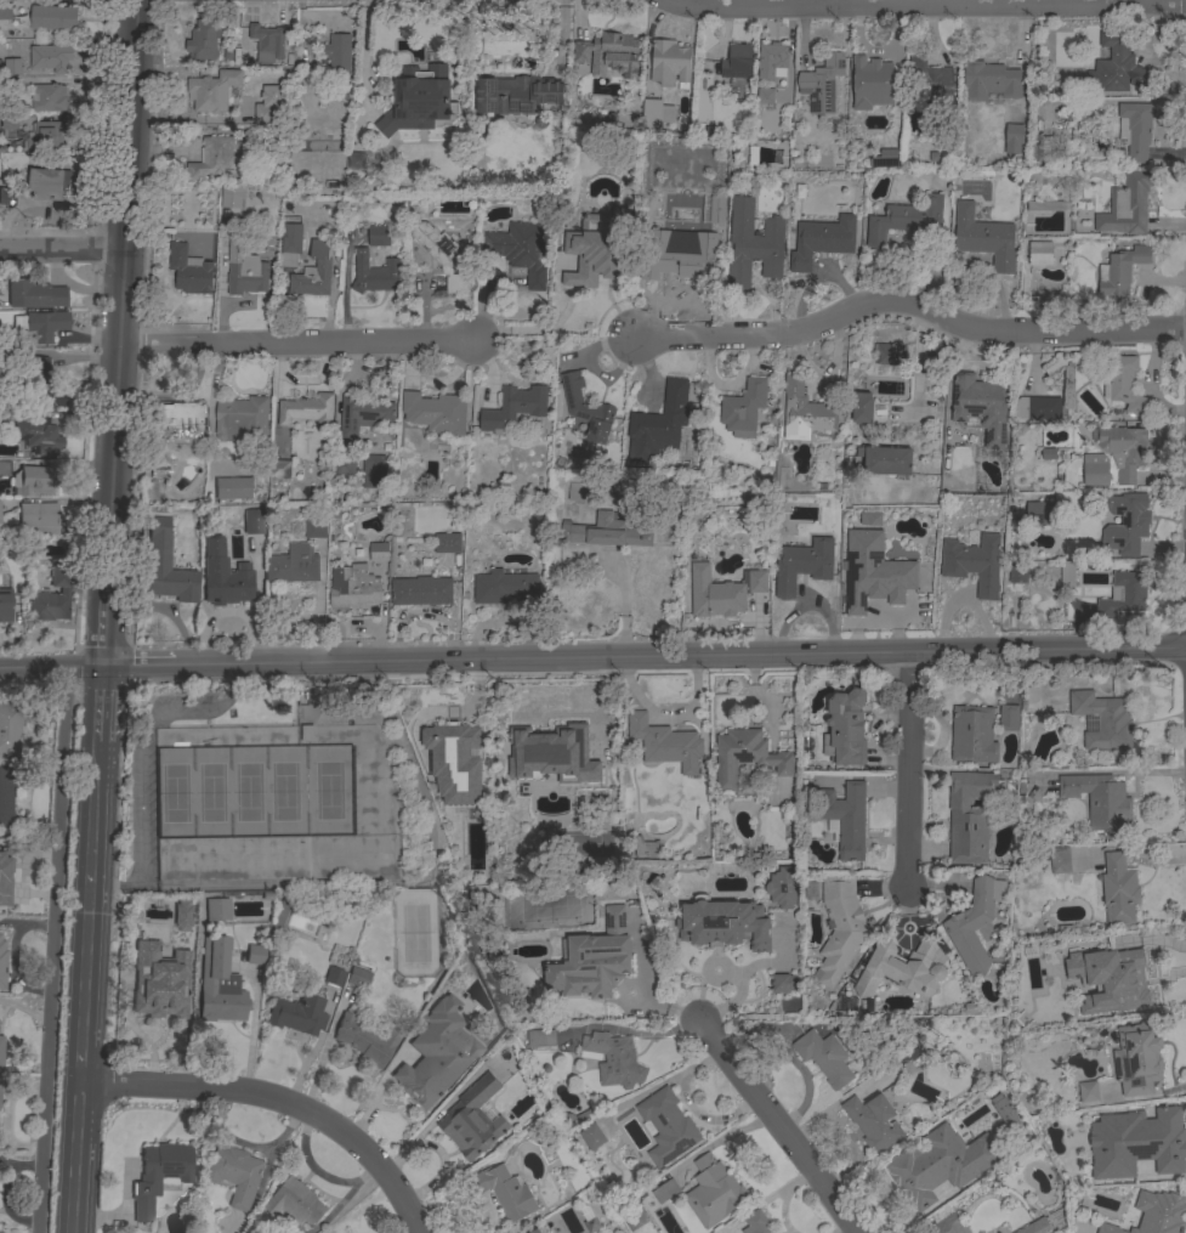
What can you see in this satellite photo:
road: (833, 2)
road: (925, 5)
building: (5, 10)
building: (52, 18)
building: (203, 40)
building: (265, 44)
road: (364, 52)
building: (337, 53)
building: (608, 55)
building: (47, 57)
building: (771, 61)
building: (737, 62)
building: (669, 63)
building: (11, 67)
building: (1117, 67)
building: (989, 80)
building: (930, 81)
building: (870, 83)
building: (821, 84)
building: (211, 91)
building: (516, 95)
building: (765, 96)
building: (49, 98)
building: (419, 103)
building: (268, 106)
building: (656, 115)
building: (10, 128)
building: (863, 129)
building: (1135, 129)
building: (50, 135)
building: (1012, 138)
building: (1040, 149)
building: (883, 159)
building: (214, 160)
building: (356, 160)
building: (47, 185)
building: (6, 196)
building: (228, 198)
building: (1127, 205)
building: (1046, 207)
building: (906, 220)
building: (719, 228)
building: (378, 237)
building: (983, 238)
building: (821, 241)
building: (225, 243)
building: (289, 244)
building: (751, 244)
building: (597, 249)
building: (520, 250)
building: (1042, 250)
road: (63, 253)
building: (441, 255)
building: (679, 260)
building: (188, 271)
building: (1119, 271)
building: (313, 272)
building: (374, 275)
building: (246, 278)
building: (34, 294)
road: (124, 296)
road: (906, 304)
building: (39, 327)
road: (529, 329)
road: (296, 344)
building: (889, 354)
building: (39, 364)
building: (1054, 366)
building: (1124, 385)
building: (47, 398)
building: (513, 407)
building: (980, 407)
building: (861, 408)
building: (1037, 408)
building: (586, 409)
building: (743, 409)
building: (306, 411)
building: (805, 412)
building: (436, 413)
building: (363, 414)
building: (175, 419)
building: (242, 420)
building: (658, 424)
building: (36, 435)
building: (1123, 451)
building: (1046, 456)
building: (342, 459)
building: (885, 462)
building: (4, 468)
building: (279, 469)
building: (160, 470)
building: (1095, 470)
building: (373, 471)
building: (34, 481)
building: (233, 488)
building: (583, 492)
building: (1039, 514)
building: (39, 517)
building: (868, 521)
building: (251, 522)
building: (1124, 524)
building: (316, 528)
building: (607, 532)
building: (255, 535)
building: (447, 543)
building: (8, 545)
building: (379, 552)
building: (974, 564)
building: (165, 565)
building: (293, 565)
building: (802, 566)
building: (873, 572)
building: (1017, 573)
building: (223, 575)
building: (1066, 575)
building: (753, 583)
building: (501, 586)
building: (353, 587)
building: (421, 592)
building: (1123, 595)
building: (52, 596)
building: (719, 598)
building: (5, 606)
road: (106, 630)
road: (592, 658)
road: (101, 705)
building: (1009, 718)
building: (1102, 720)
building: (846, 728)
building: (10, 729)
building: (972, 735)
building: (452, 741)
building: (665, 743)
building: (567, 745)
building: (745, 757)
road: (138, 759)
road: (98, 760)
parking lot: (152, 760)
road: (906, 771)
park: (254, 788)
park: (278, 790)
building: (6, 799)
building: (1100, 802)
building: (967, 816)
building: (845, 819)
building: (645, 848)
building: (1060, 860)
building: (5, 869)
building: (782, 888)
building: (1118, 889)
building: (216, 909)
building: (181, 917)
building: (279, 917)
building: (723, 923)
building: (974, 923)
building: (839, 928)
building: (183, 929)
road: (87, 933)
road: (47, 950)
building: (255, 954)
building: (592, 960)
building: (1, 965)
building: (904, 968)
building: (333, 977)
building: (357, 978)
building: (1110, 980)
building: (219, 983)
building: (783, 984)
building: (158, 992)
building: (297, 1014)
building: (540, 1039)
building: (367, 1040)
building: (0, 1050)
building: (908, 1056)
building: (824, 1057)
building: (614, 1059)
building: (1137, 1059)
building: (421, 1079)
building: (0, 1090)
building: (1088, 1092)
road: (274, 1101)
building: (575, 1119)
building: (472, 1120)
building: (873, 1121)
building: (666, 1126)
road: (776, 1126)
building: (592, 1137)
building: (1151, 1141)
building: (993, 1156)
road: (74, 1159)
building: (234, 1175)
building: (919, 1175)
building: (159, 1176)
building: (664, 1190)
building: (505, 1192)
building: (713, 1192)
building: (294, 1204)
building: (1162, 1212)
building: (589, 1218)
building: (755, 1223)
building: (946, 1226)
building: (1108, 1226)
building: (1037, 1227)
building: (534, 1231)
building: (1134, 1231)
building: (1147, 1232)

